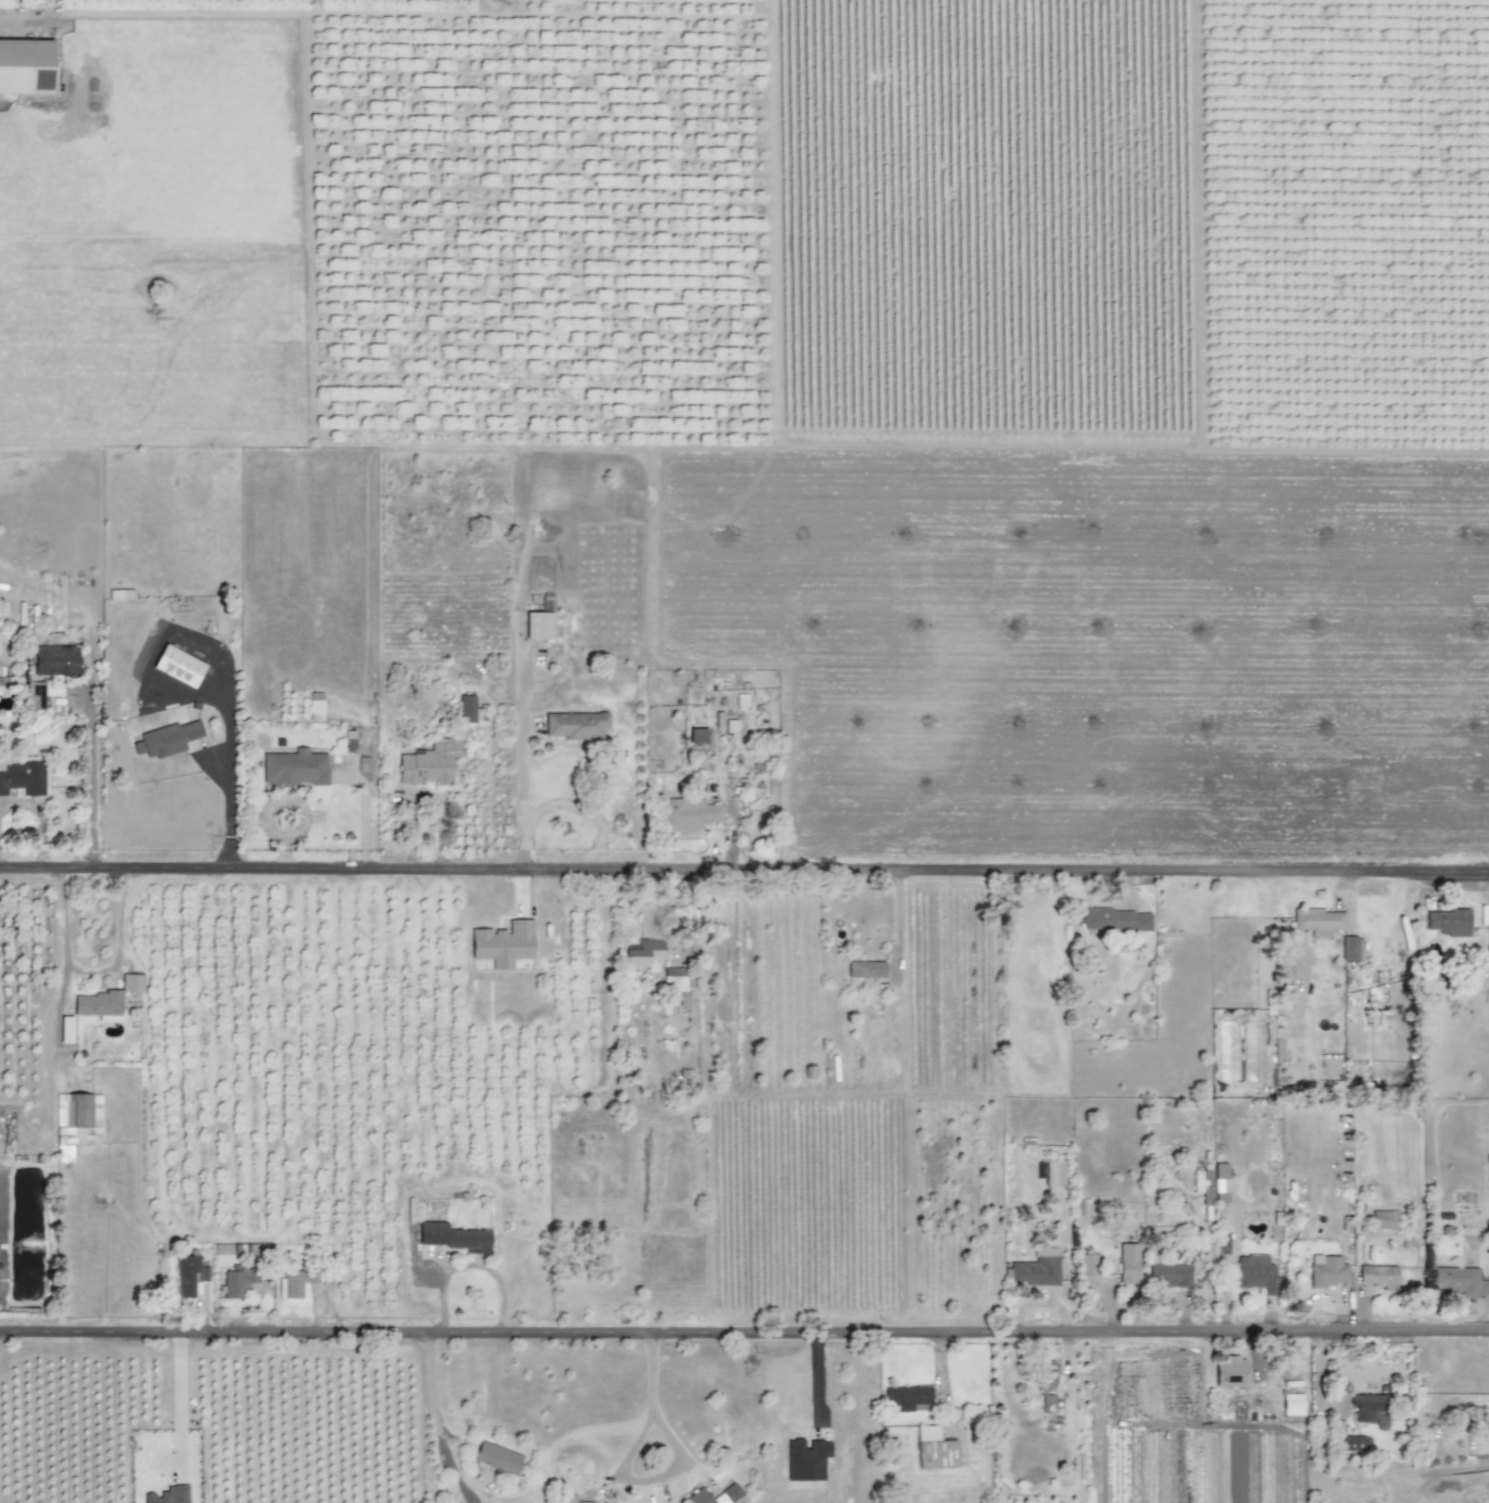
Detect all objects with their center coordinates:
building: (25, 66)
building: (539, 619)
building: (55, 660)
building: (178, 666)
building: (10, 681)
building: (42, 692)
building: (741, 701)
building: (315, 707)
building: (466, 709)
building: (576, 725)
building: (731, 726)
building: (697, 736)
building: (166, 739)
building: (349, 741)
building: (363, 764)
building: (429, 764)
building: (294, 768)
road: (89, 771)
building: (23, 778)
road: (227, 806)
road: (523, 806)
road: (584, 810)
road: (362, 814)
building: (687, 814)
road: (41, 817)
road: (744, 870)
road: (897, 920)
building: (1115, 920)
building: (1318, 921)
building: (1448, 922)
building: (502, 944)
building: (1350, 949)
building: (644, 953)
building: (866, 969)
road: (86, 975)
building: (131, 983)
building: (677, 983)
building: (99, 1005)
building: (93, 1119)
building: (1053, 1173)
building: (1203, 1182)
building: (1220, 1183)
building: (1383, 1220)
building: (453, 1237)
building: (1128, 1263)
building: (1088, 1265)
building: (1036, 1268)
building: (1327, 1271)
building: (1169, 1274)
building: (1255, 1274)
building: (189, 1276)
building: (1377, 1276)
building: (237, 1282)
building: (296, 1282)
building: (1465, 1283)
road: (744, 1333)
building: (1229, 1372)
road: (653, 1376)
road: (815, 1382)
building: (1047, 1385)
building: (908, 1399)
road: (174, 1400)
building: (1292, 1404)
building: (1365, 1406)
road: (434, 1420)
building: (1352, 1443)
building: (934, 1449)
road: (550, 1450)
building: (496, 1458)
building: (806, 1459)
road: (644, 1480)
building: (730, 1491)
building: (167, 1495)
building: (566, 1499)

